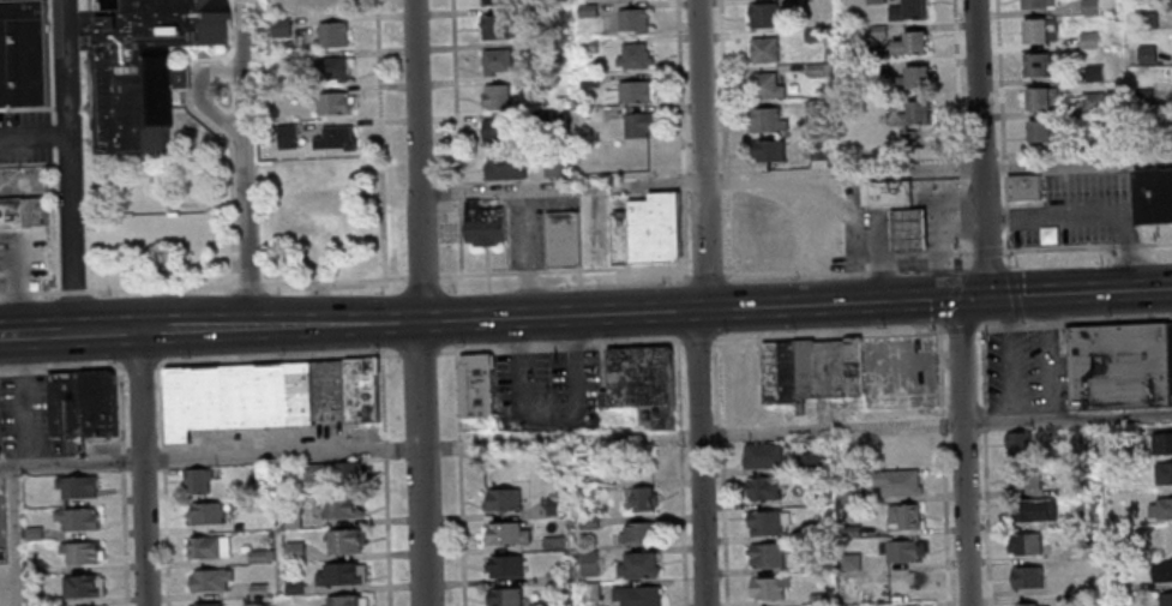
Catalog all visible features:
road: (115, 2)
building: (1039, 4)
building: (333, 5)
building: (910, 10)
building: (764, 14)
building: (635, 19)
building: (498, 26)
building: (1041, 30)
building: (335, 34)
building: (914, 43)
building: (767, 49)
building: (23, 52)
building: (1148, 54)
building: (635, 55)
building: (155, 60)
building: (498, 60)
building: (1036, 65)
building: (337, 67)
building: (919, 77)
road: (1000, 78)
road: (957, 79)
road: (723, 85)
building: (769, 85)
road: (679, 86)
building: (632, 91)
road: (456, 92)
building: (498, 96)
building: (1041, 97)
building: (336, 102)
building: (1094, 102)
building: (916, 113)
building: (770, 119)
building: (639, 125)
building: (500, 131)
building: (1041, 131)
road: (35, 134)
building: (288, 136)
building: (338, 138)
road: (380, 139)
road: (980, 149)
building: (770, 150)
road: (232, 152)
building: (642, 158)
road: (417, 160)
road: (246, 163)
road: (71, 166)
building: (506, 166)
building: (554, 166)
road: (1004, 166)
road: (961, 168)
road: (794, 176)
road: (726, 179)
road: (683, 181)
road: (961, 181)
building: (1023, 186)
road: (459, 192)
building: (886, 196)
building: (1154, 196)
parking lot: (1072, 208)
building: (22, 214)
road: (963, 216)
road: (1008, 221)
building: (483, 223)
building: (654, 229)
road: (727, 230)
parking lot: (867, 232)
building: (909, 232)
road: (684, 233)
road: (461, 238)
building: (620, 238)
building: (563, 239)
road: (1087, 247)
road: (986, 250)
road: (964, 258)
road: (849, 269)
road: (565, 270)
road: (707, 274)
road: (423, 276)
road: (335, 282)
road: (250, 284)
road: (119, 290)
road: (1014, 293)
road: (1078, 293)
road: (952, 298)
traffic signals: (987, 298)
traffic signals: (957, 299)
road: (702, 302)
road: (1042, 310)
road: (1005, 311)
road: (531, 316)
road: (888, 317)
road: (1020, 323)
road: (1074, 323)
road: (960, 329)
road: (572, 330)
road: (920, 330)
road: (889, 331)
road: (38, 332)
road: (511, 332)
road: (799, 335)
road: (940, 337)
road: (698, 340)
road: (559, 346)
road: (419, 352)
road: (940, 355)
road: (950, 355)
road: (914, 358)
road: (276, 359)
road: (139, 366)
building: (1120, 366)
road: (888, 367)
road: (120, 368)
parking lot: (901, 368)
building: (853, 370)
road: (982, 371)
parking lot: (1026, 371)
building: (803, 372)
building: (829, 372)
building: (777, 374)
building: (643, 382)
building: (476, 385)
building: (362, 389)
parking lot: (547, 389)
road: (940, 389)
building: (330, 390)
building: (238, 396)
road: (381, 397)
road: (1036, 398)
building: (95, 403)
building: (62, 404)
road: (163, 407)
road: (546, 409)
road: (984, 422)
road: (934, 424)
road: (942, 424)
road: (120, 427)
building: (1017, 445)
building: (1161, 445)
road: (384, 449)
road: (961, 451)
road: (210, 457)
building: (762, 457)
road: (164, 458)
road: (420, 462)
building: (811, 462)
road: (142, 468)
road: (722, 472)
building: (313, 473)
road: (680, 473)
building: (259, 475)
building: (348, 475)
building: (1162, 475)
building: (194, 479)
road: (461, 479)
building: (1022, 480)
building: (74, 485)
building: (897, 485)
building: (1080, 487)
building: (764, 490)
building: (849, 494)
building: (584, 498)
building: (815, 498)
building: (642, 500)
building: (503, 502)
building: (553, 506)
building: (336, 509)
building: (1161, 510)
building: (1034, 512)
building: (205, 514)
building: (74, 517)
building: (904, 517)
building: (290, 518)
road: (944, 518)
road: (986, 518)
building: (1082, 520)
building: (588, 523)
building: (767, 523)
building: (238, 527)
building: (816, 529)
building: (31, 532)
road: (387, 532)
building: (849, 532)
road: (13, 535)
building: (506, 535)
building: (638, 535)
road: (167, 536)
building: (343, 542)
building: (553, 544)
building: (1024, 546)
building: (209, 548)
building: (78, 551)
building: (294, 552)
building: (900, 552)
building: (270, 554)
building: (257, 556)
building: (765, 557)
building: (588, 563)
building: (851, 563)
building: (30, 566)
building: (637, 566)
building: (504, 568)
building: (1161, 572)
building: (338, 576)
building: (554, 576)
building: (1026, 578)
building: (210, 581)
building: (79, 586)
building: (1118, 586)
building: (769, 588)
building: (293, 589)
building: (258, 590)
building: (589, 592)
building: (637, 596)
building: (504, 598)
building: (34, 599)
building: (817, 600)
building: (1078, 600)
building: (1165, 600)
building: (343, 601)
building: (211, 605)
building: (1026, 605)

